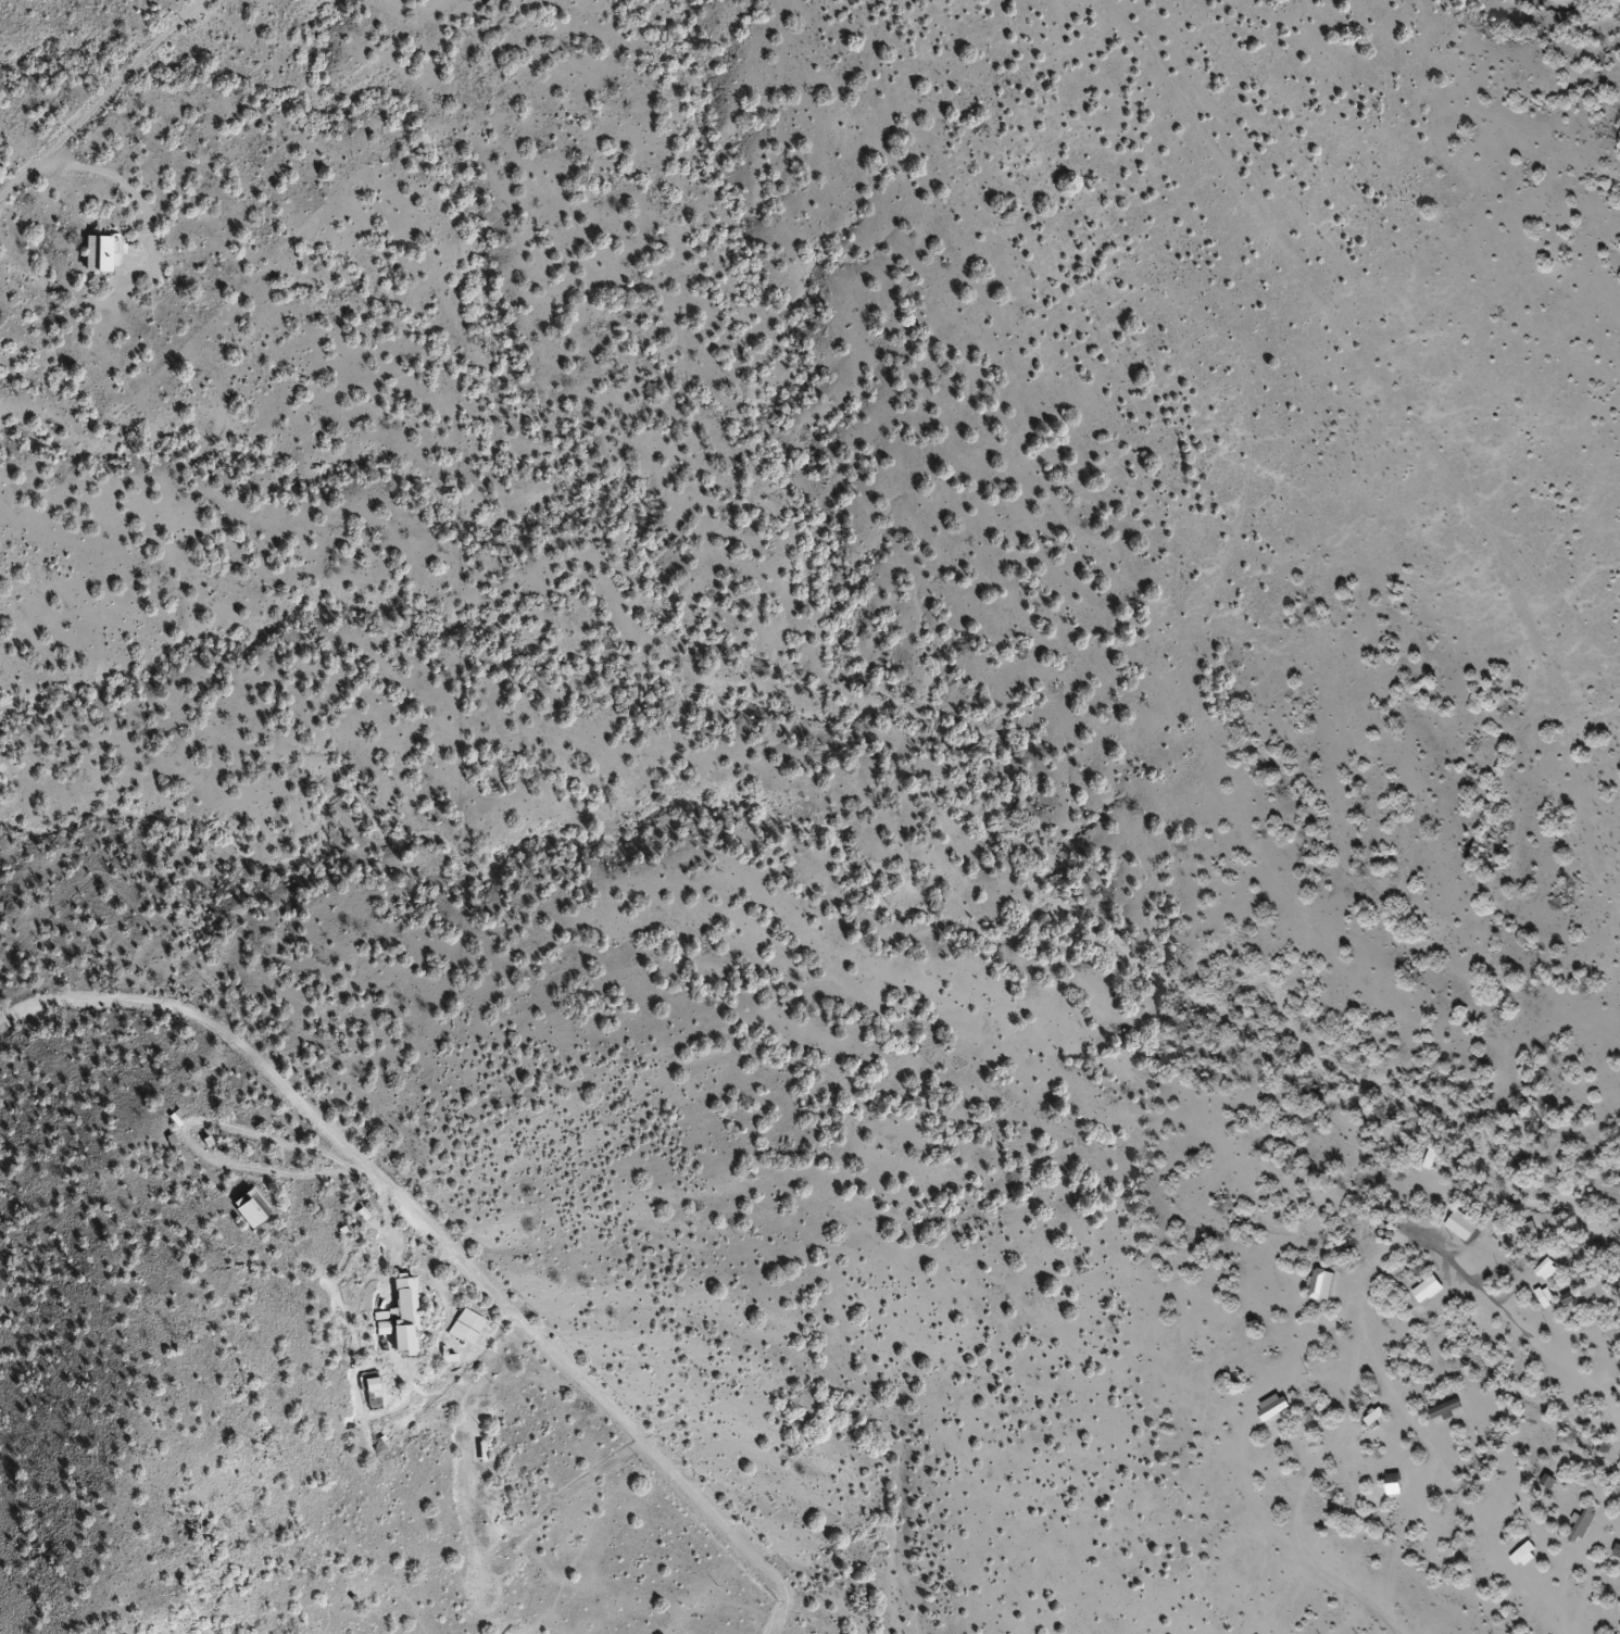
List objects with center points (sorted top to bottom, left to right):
road: (100, 101)
building: (96, 252)
road: (1410, 420)
building: (248, 1209)
building: (1461, 1226)
road: (449, 1235)
building: (1547, 1269)
building: (1321, 1284)
building: (1427, 1289)
road: (1527, 1306)
building: (400, 1317)
building: (464, 1327)
building: (371, 1394)
building: (1444, 1409)
building: (1582, 1523)
building: (1617, 1549)
building: (1523, 1553)

